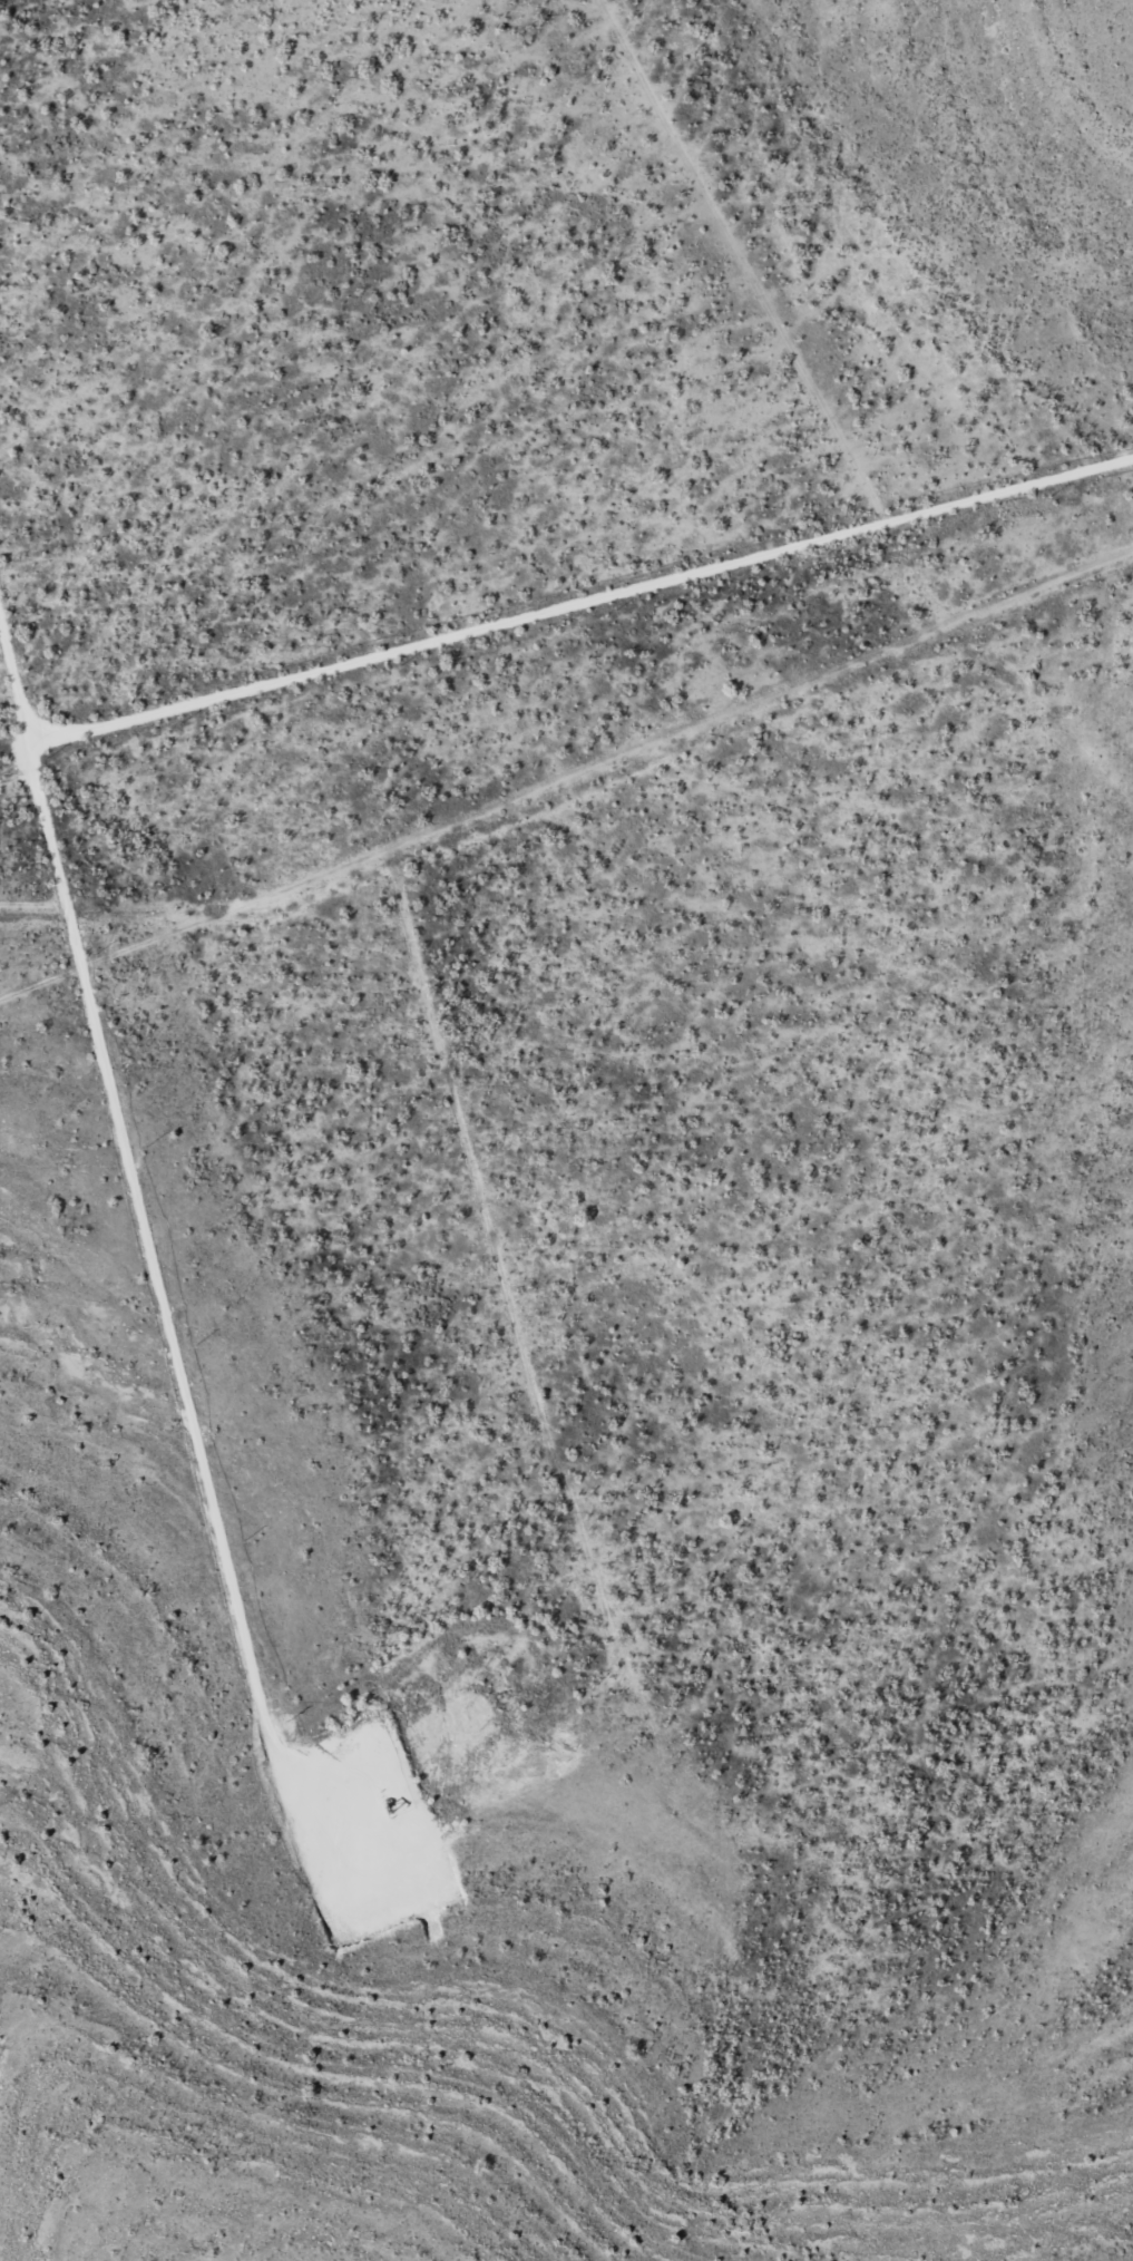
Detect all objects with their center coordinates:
road: (568, 997)

